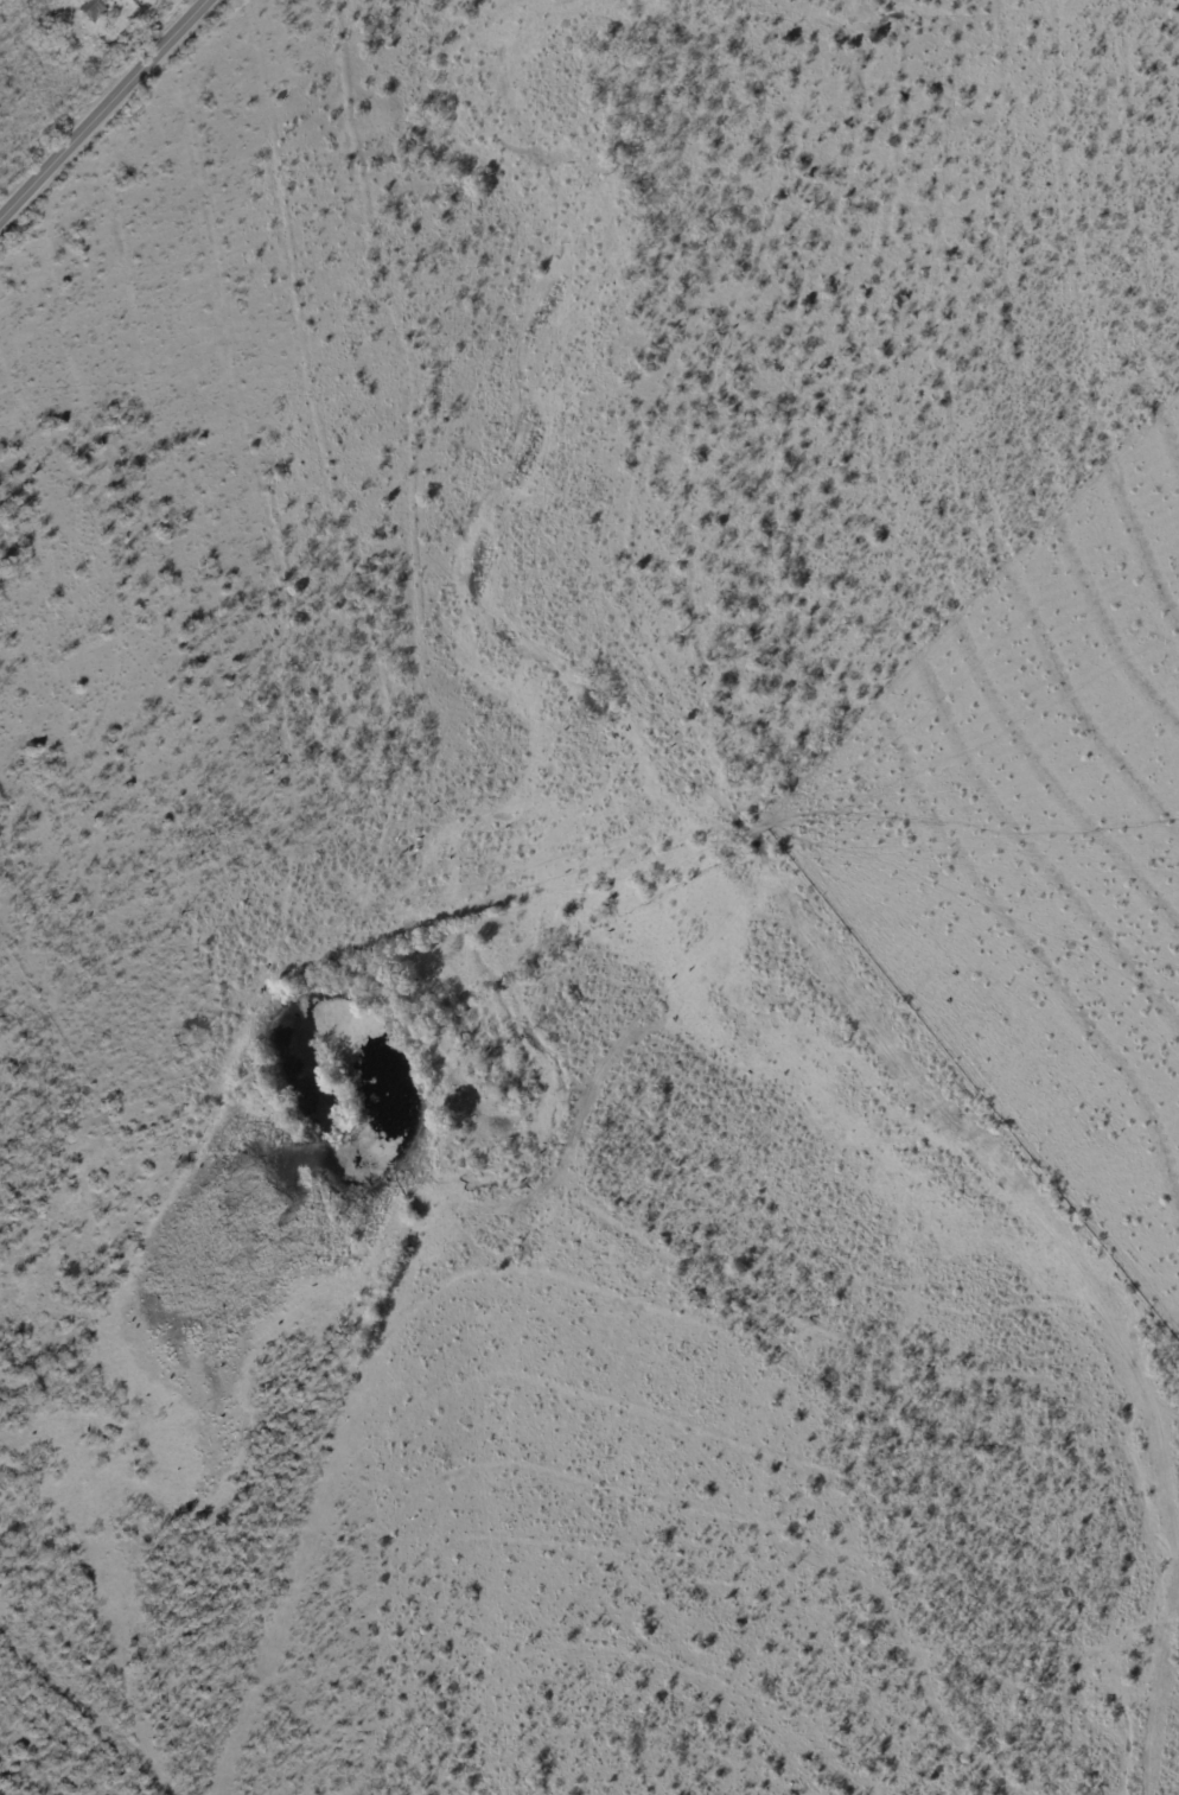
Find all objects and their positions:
building: (91, 12)
road: (102, 108)

